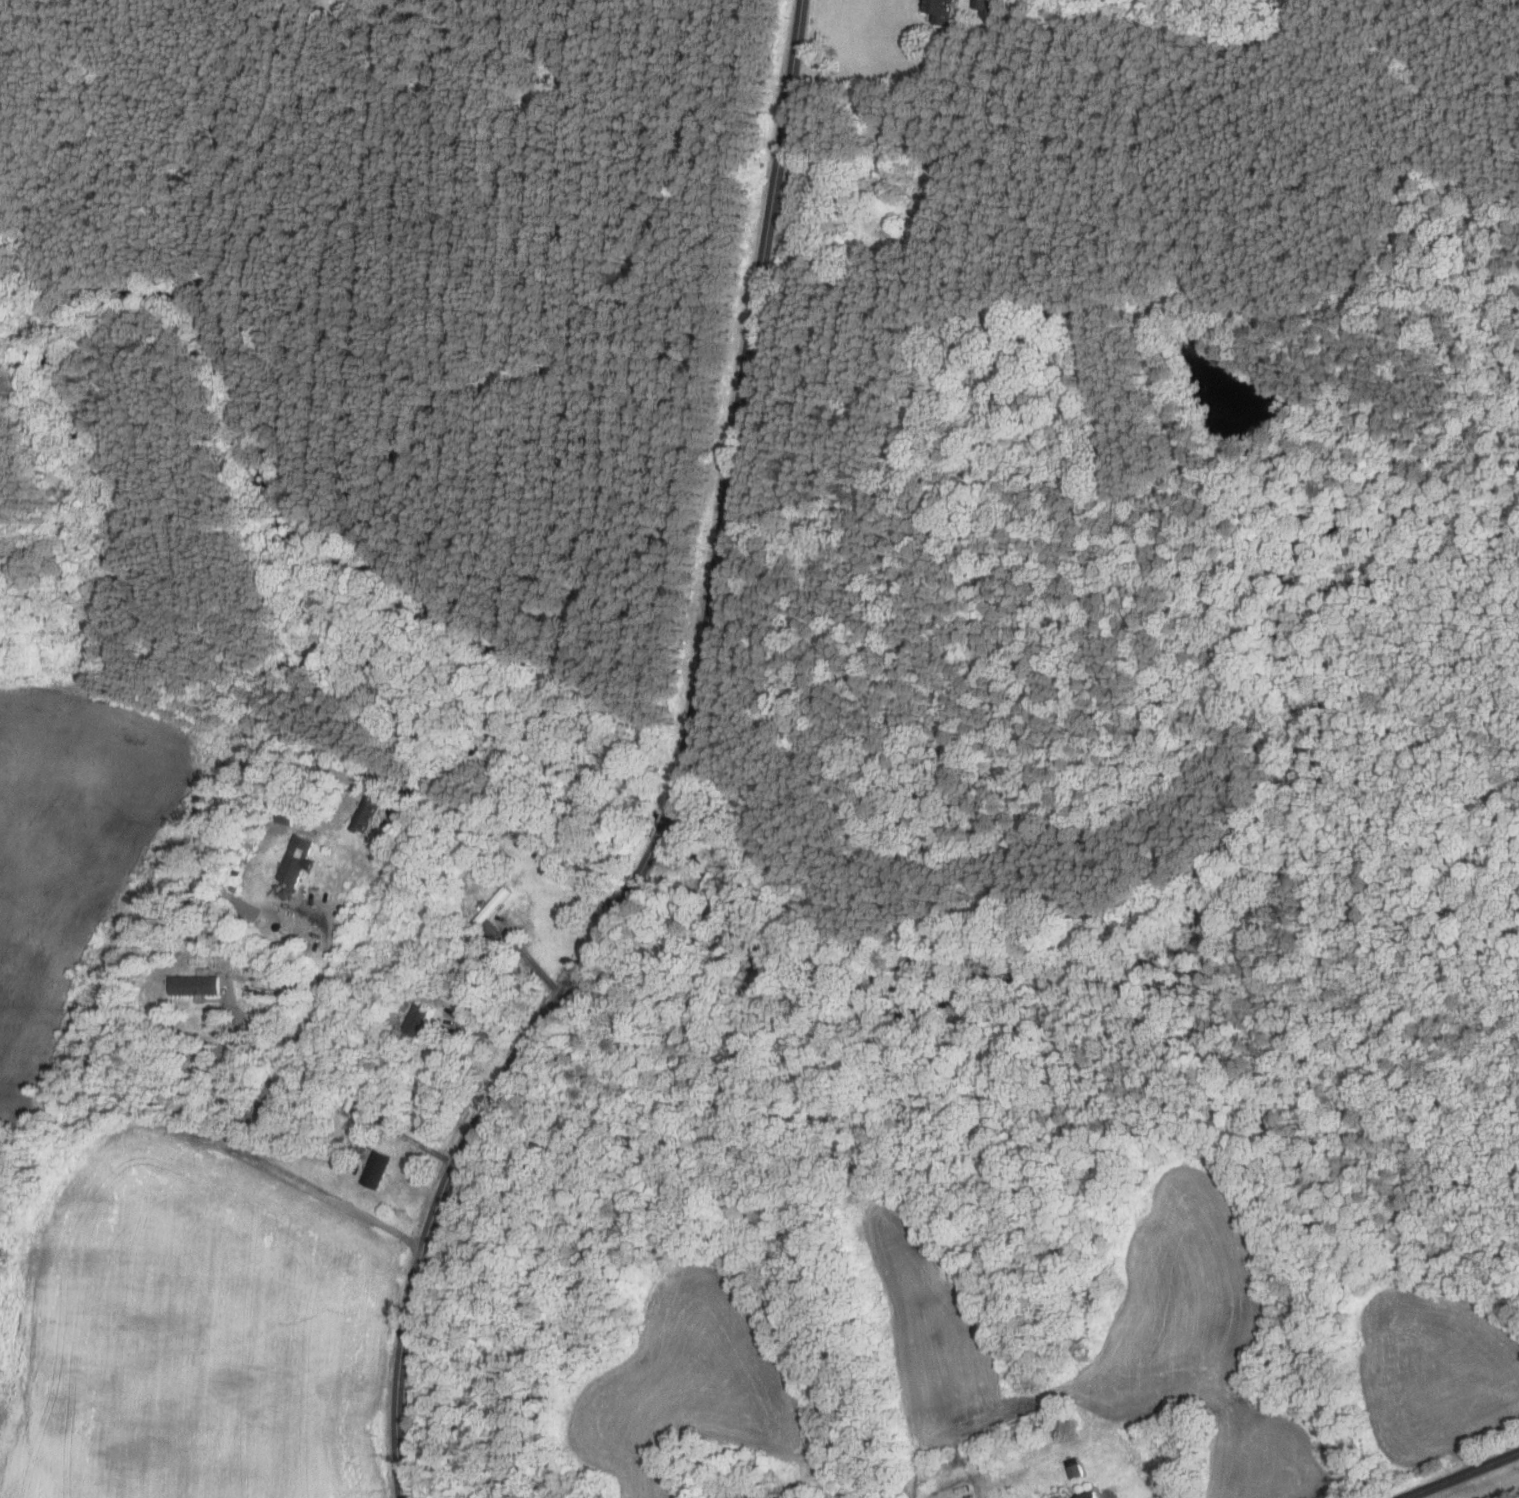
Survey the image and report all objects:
road: (740, 408)
building: (365, 814)
building: (284, 818)
road: (663, 827)
road: (514, 836)
building: (298, 861)
building: (237, 873)
building: (233, 887)
building: (279, 889)
building: (492, 905)
building: (215, 922)
building: (192, 933)
building: (475, 942)
road: (531, 959)
building: (196, 986)
road: (556, 1001)
building: (415, 1019)
road: (481, 1032)
building: (398, 1049)
road: (223, 1075)
building: (350, 1101)
road: (256, 1106)
building: (371, 1140)
road: (405, 1327)
building: (1073, 1468)
road: (1462, 1475)
building: (794, 1490)
building: (1088, 1495)

